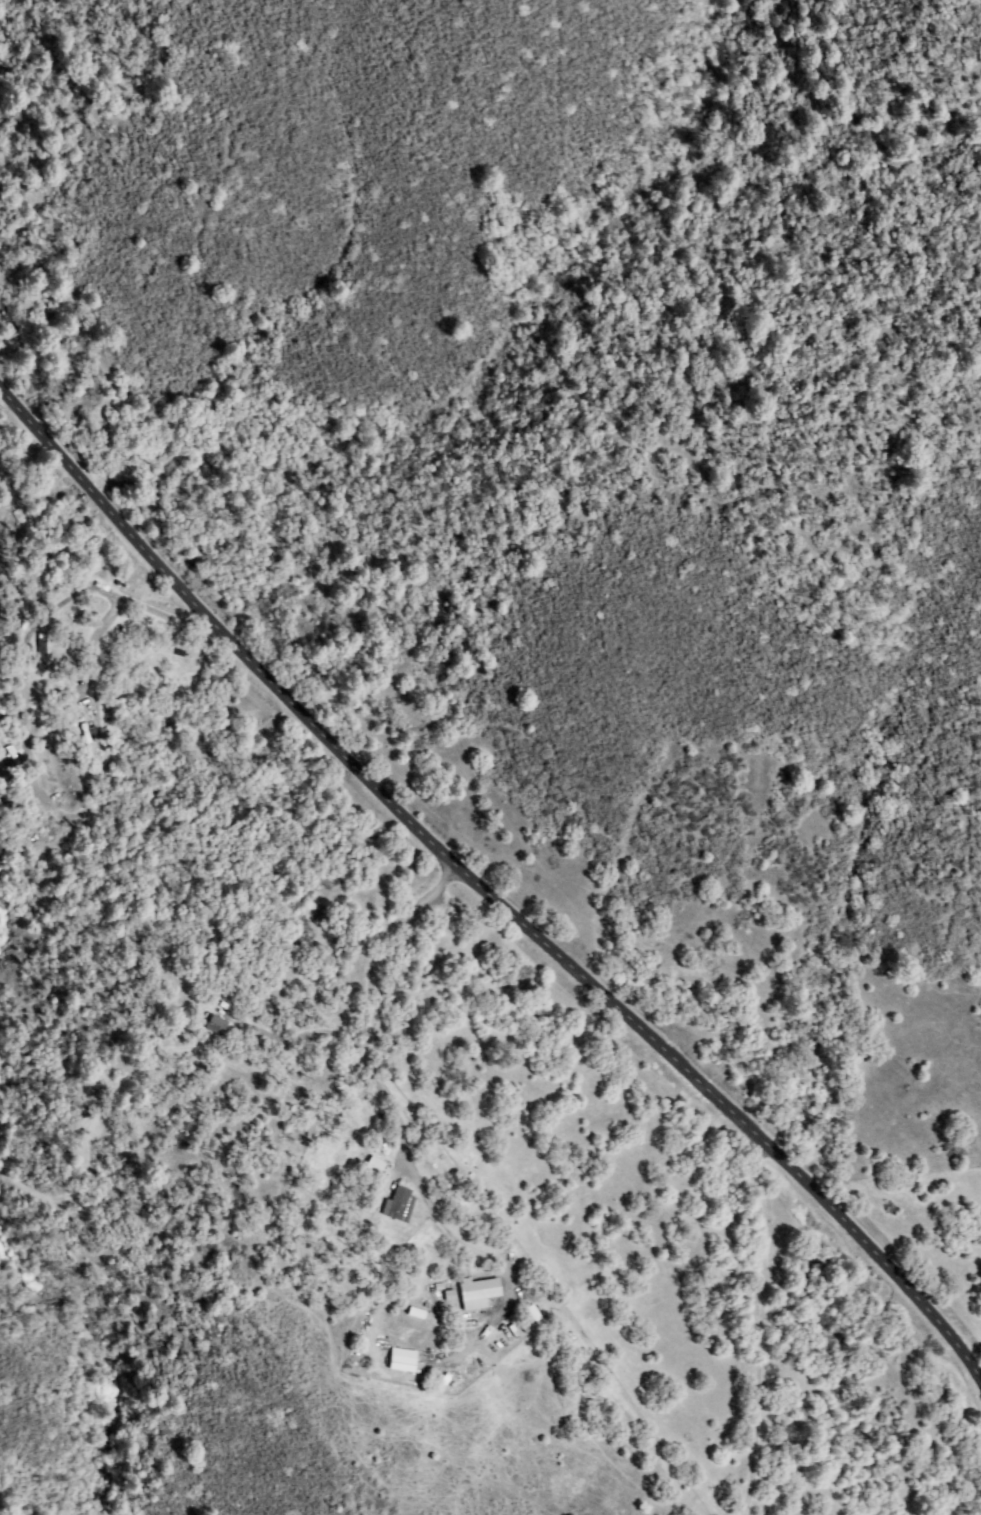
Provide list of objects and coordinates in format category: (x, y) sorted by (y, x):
building: (7, 754)
building: (37, 804)
road: (485, 893)
building: (215, 1024)
building: (375, 1164)
building: (360, 1175)
building: (400, 1204)
building: (478, 1292)
building: (450, 1296)
building: (542, 1312)
building: (534, 1314)
building: (401, 1364)

